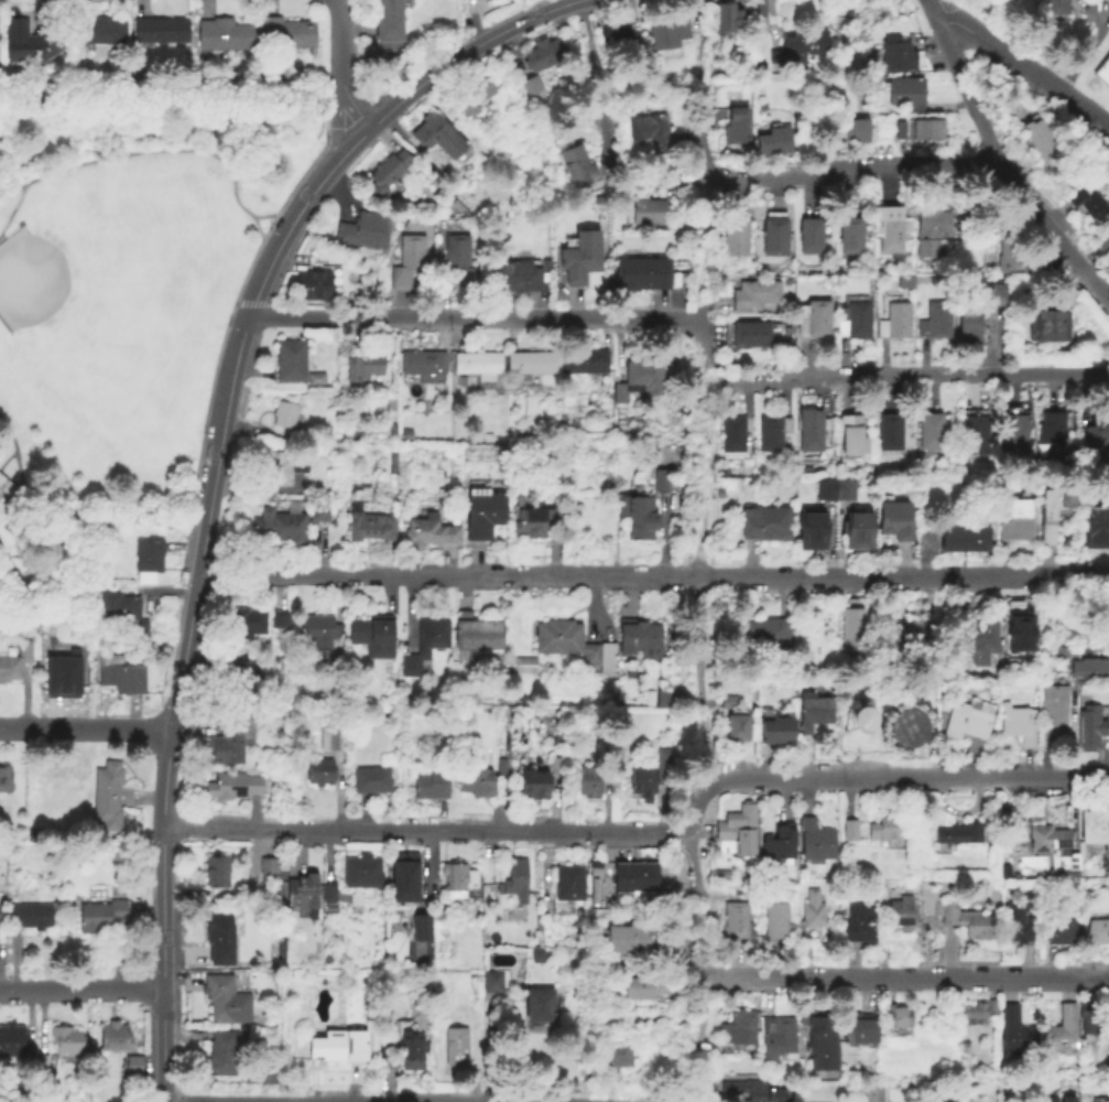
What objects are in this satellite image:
building: (1055, 8)
road: (929, 10)
road: (768, 20)
building: (728, 23)
building: (389, 25)
building: (161, 31)
building: (666, 31)
building: (99, 33)
building: (616, 33)
building: (286, 35)
building: (225, 37)
road: (709, 37)
building: (28, 43)
road: (341, 44)
building: (803, 47)
road: (467, 51)
building: (543, 56)
building: (896, 56)
road: (1025, 67)
building: (1103, 74)
road: (597, 82)
building: (532, 89)
building: (906, 94)
building: (474, 95)
road: (355, 108)
building: (811, 121)
road: (128, 125)
building: (926, 130)
building: (736, 131)
building: (899, 131)
building: (652, 133)
building: (854, 133)
building: (438, 139)
building: (773, 143)
building: (1042, 144)
road: (705, 149)
road: (163, 150)
building: (577, 169)
road: (837, 170)
road: (1004, 172)
building: (388, 173)
road: (671, 192)
building: (1088, 209)
road: (13, 212)
building: (648, 214)
building: (829, 227)
building: (892, 230)
building: (362, 233)
building: (931, 233)
road: (262, 237)
building: (811, 237)
building: (774, 238)
building: (850, 238)
building: (735, 239)
building: (1102, 241)
building: (1010, 252)
road: (713, 255)
building: (580, 259)
building: (407, 262)
building: (460, 267)
building: (642, 275)
building: (512, 278)
building: (1061, 282)
park: (78, 287)
building: (312, 288)
road: (254, 295)
building: (997, 296)
building: (754, 298)
park: (121, 300)
road: (472, 318)
building: (815, 321)
building: (855, 322)
building: (935, 323)
building: (894, 324)
building: (969, 327)
building: (1048, 328)
building: (750, 336)
road: (698, 337)
road: (711, 361)
building: (289, 363)
building: (583, 363)
building: (531, 364)
building: (477, 366)
building: (422, 367)
building: (362, 368)
road: (702, 374)
road: (905, 376)
building: (314, 380)
building: (638, 382)
building: (284, 417)
building: (1050, 431)
building: (525, 433)
building: (811, 433)
building: (771, 434)
building: (890, 434)
building: (931, 434)
building: (976, 437)
building: (735, 439)
building: (851, 439)
building: (1014, 439)
building: (1096, 447)
road: (7, 460)
road: (18, 465)
building: (283, 468)
building: (660, 483)
building: (6, 488)
building: (835, 491)
road: (21, 506)
building: (1055, 512)
building: (318, 514)
building: (482, 515)
building: (637, 518)
building: (895, 522)
building: (1019, 522)
building: (534, 523)
building: (764, 526)
building: (1094, 526)
building: (280, 528)
building: (370, 528)
building: (428, 533)
building: (812, 533)
building: (858, 533)
building: (965, 541)
building: (146, 561)
road: (1092, 576)
road: (505, 577)
road: (994, 577)
road: (863, 579)
road: (698, 591)
building: (117, 607)
building: (278, 619)
building: (247, 624)
building: (1016, 626)
building: (852, 627)
building: (140, 630)
building: (768, 633)
building: (477, 634)
building: (372, 635)
building: (322, 636)
building: (910, 636)
building: (639, 637)
building: (424, 644)
building: (572, 645)
building: (978, 645)
building: (14, 662)
building: (522, 667)
building: (1090, 668)
building: (631, 671)
building: (61, 673)
building: (119, 674)
building: (237, 676)
building: (661, 701)
building: (814, 712)
building: (1053, 713)
building: (390, 714)
building: (869, 715)
water tower: (869, 715)
building: (855, 717)
building: (735, 720)
building: (968, 720)
building: (1018, 724)
road: (86, 727)
building: (910, 728)
water tower: (910, 728)
building: (1090, 728)
building: (776, 730)
road: (1072, 731)
building: (330, 739)
road: (168, 741)
building: (229, 742)
building: (555, 767)
building: (501, 768)
building: (319, 773)
building: (652, 777)
road: (909, 778)
building: (108, 779)
building: (7, 780)
building: (371, 781)
building: (477, 784)
building: (589, 784)
building: (534, 785)
building: (433, 786)
building: (231, 787)
road: (696, 806)
building: (106, 814)
building: (1096, 825)
road: (424, 830)
building: (887, 831)
building: (849, 832)
building: (738, 834)
building: (960, 834)
building: (780, 843)
building: (816, 843)
building: (1048, 843)
road: (696, 862)
building: (265, 871)
building: (217, 874)
building: (360, 877)
building: (405, 879)
building: (635, 879)
building: (459, 883)
building: (514, 883)
building: (869, 886)
building: (565, 892)
building: (884, 893)
building: (301, 895)
building: (328, 896)
building: (902, 915)
building: (1, 916)
building: (100, 916)
building: (811, 916)
building: (31, 917)
road: (702, 920)
building: (776, 921)
building: (964, 921)
building: (736, 922)
building: (860, 925)
building: (1016, 925)
building: (421, 929)
building: (1062, 932)
building: (1099, 932)
building: (225, 940)
building: (631, 940)
building: (536, 959)
road: (699, 959)
road: (905, 977)
building: (491, 985)
building: (643, 988)
road: (81, 991)
building: (226, 1002)
building: (540, 1006)
building: (976, 1011)
building: (1089, 1012)
road: (702, 1015)
building: (899, 1022)
building: (740, 1028)
building: (861, 1028)
building: (1061, 1030)
building: (1013, 1031)
building: (113, 1038)
building: (780, 1038)
building: (12, 1041)
building: (67, 1041)
building: (824, 1044)
road: (163, 1045)
building: (455, 1048)
building: (334, 1049)
building: (412, 1052)
road: (490, 1052)
building: (220, 1055)
building: (617, 1055)
building: (29, 1063)
building: (41, 1063)
building: (133, 1067)
building: (752, 1089)
building: (870, 1092)
building: (938, 1098)
building: (1047, 1098)
building: (1068, 1099)
building: (1099, 1099)
road: (280, 1100)
road: (162, 1101)
road: (304, 1101)

